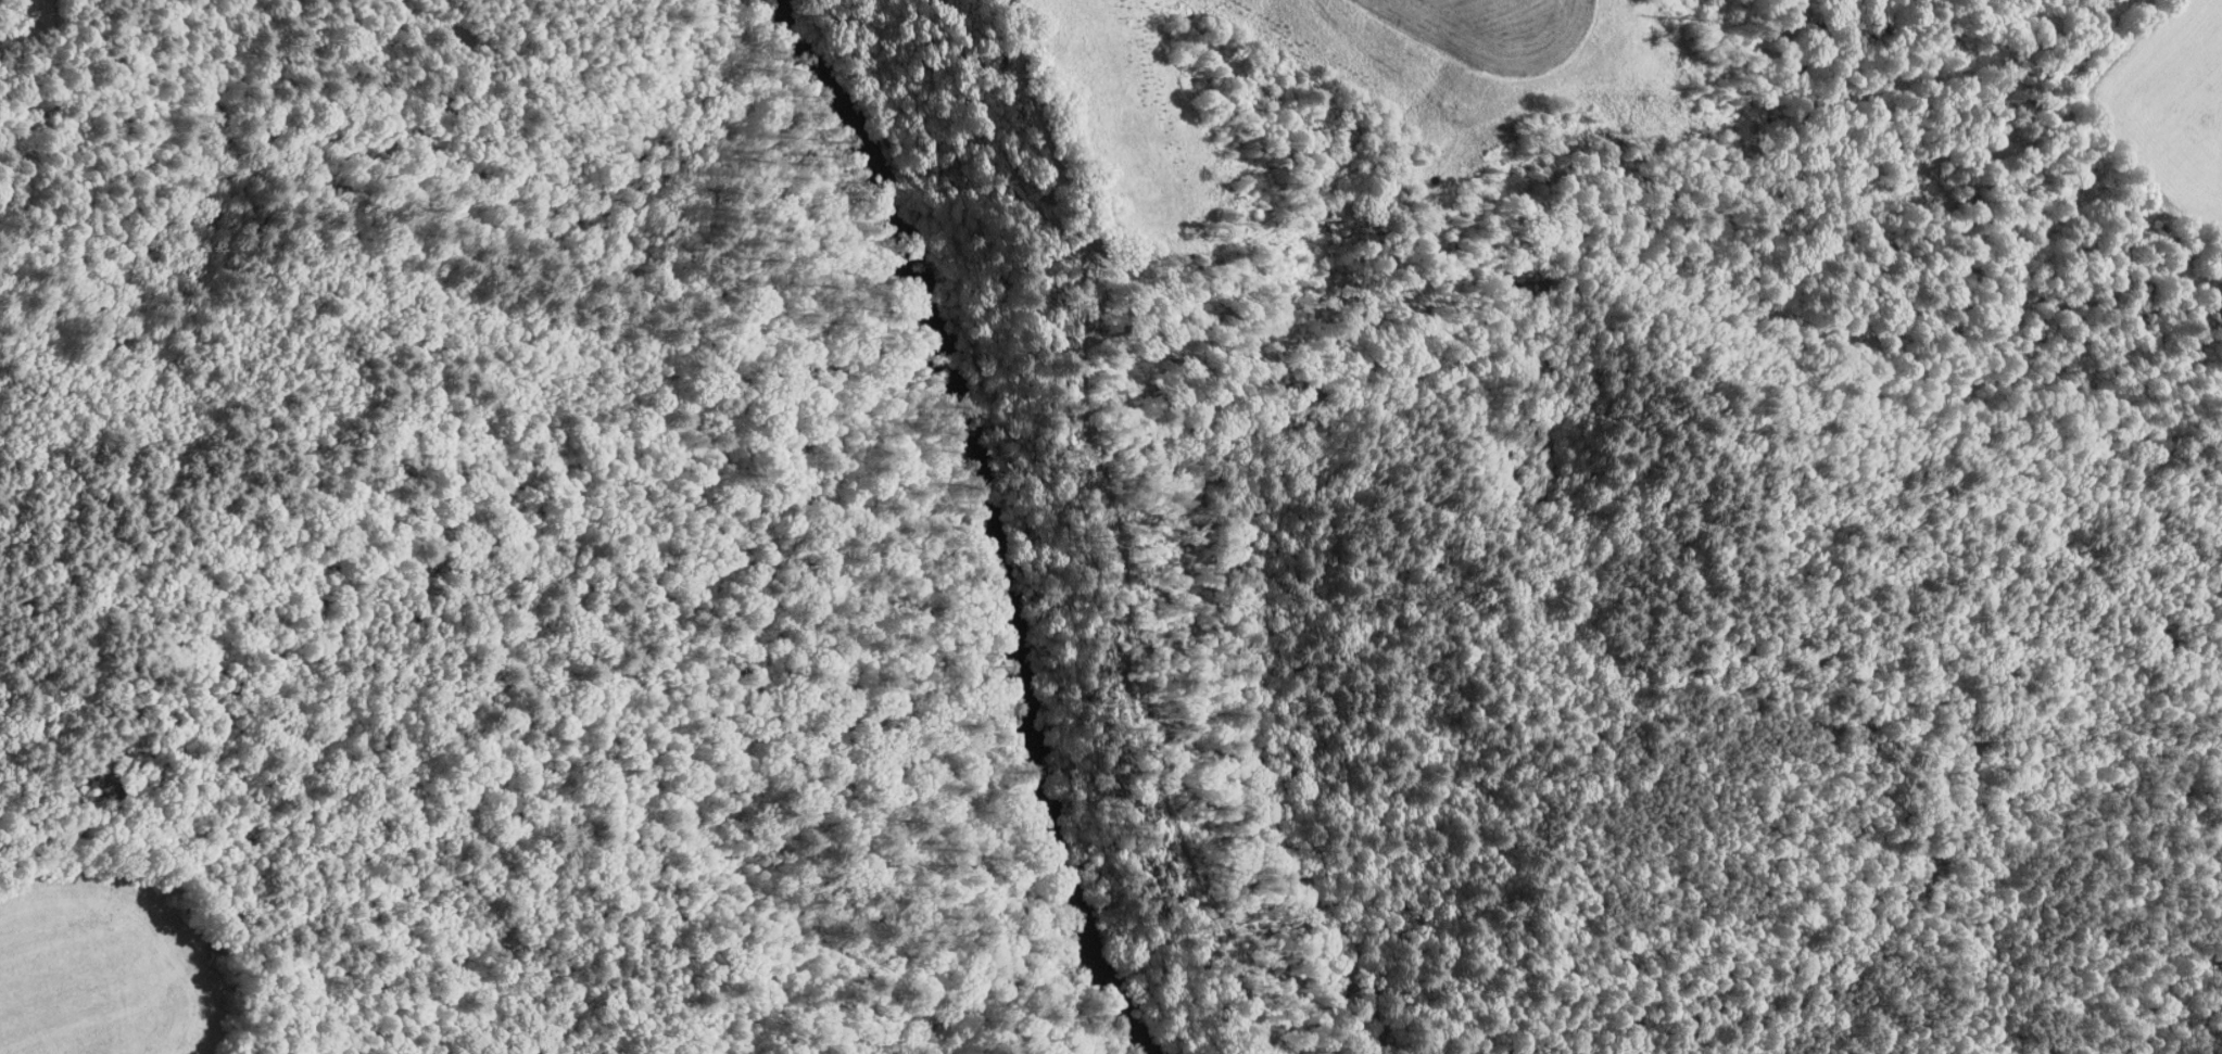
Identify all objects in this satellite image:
river: (1005, 510)

